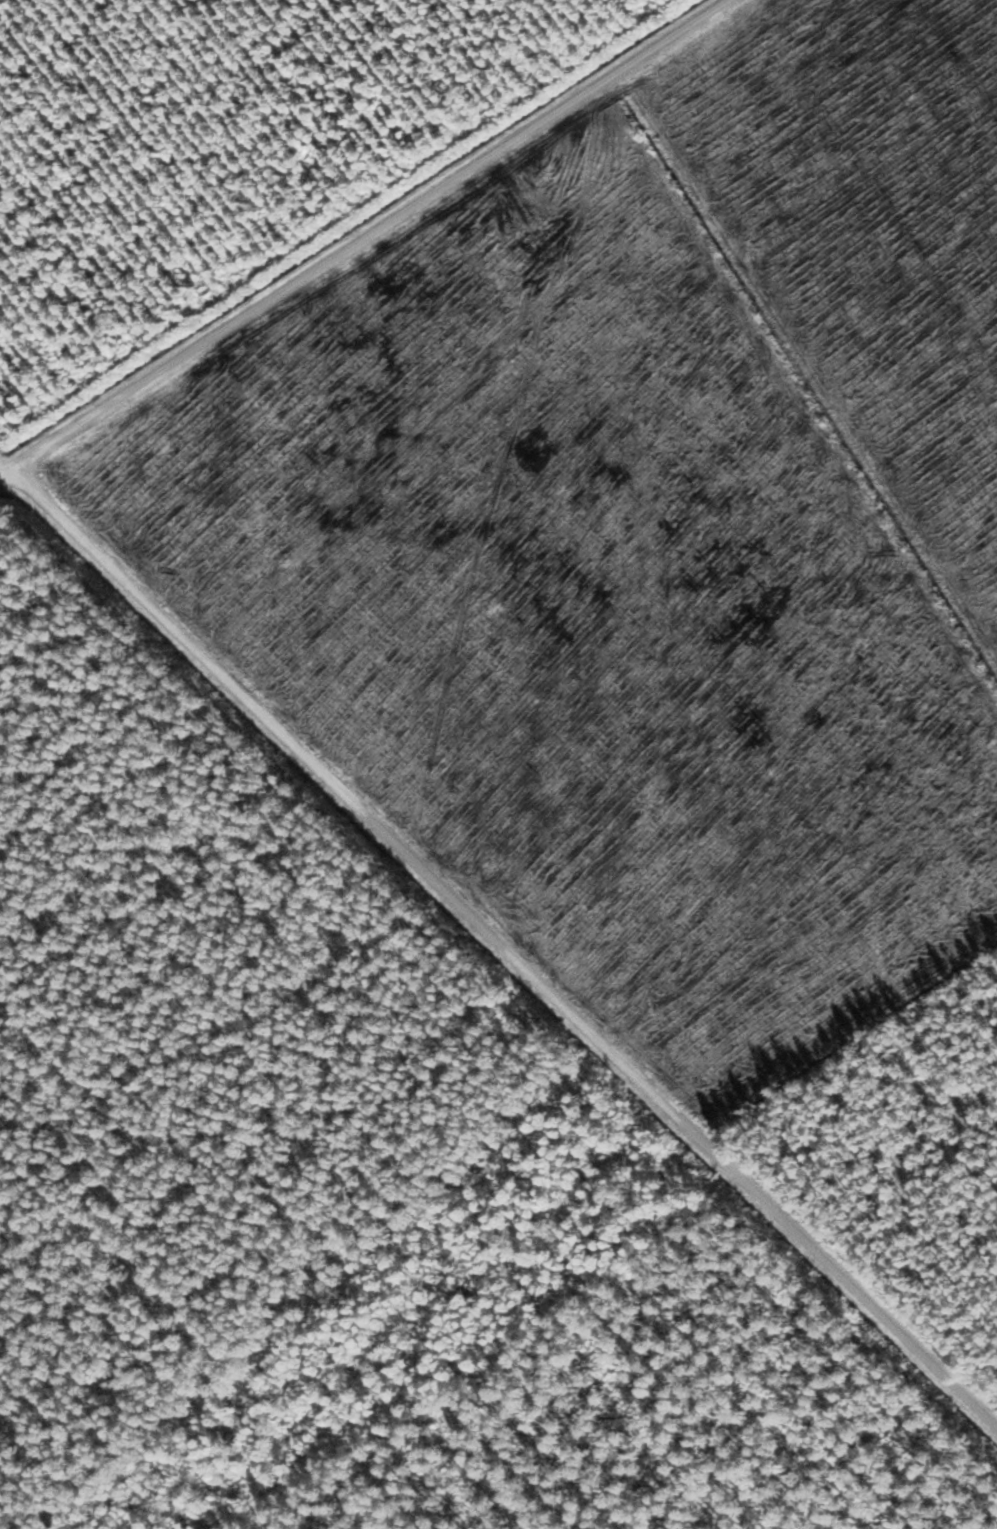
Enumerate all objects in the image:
road: (366, 241)
road: (498, 945)

